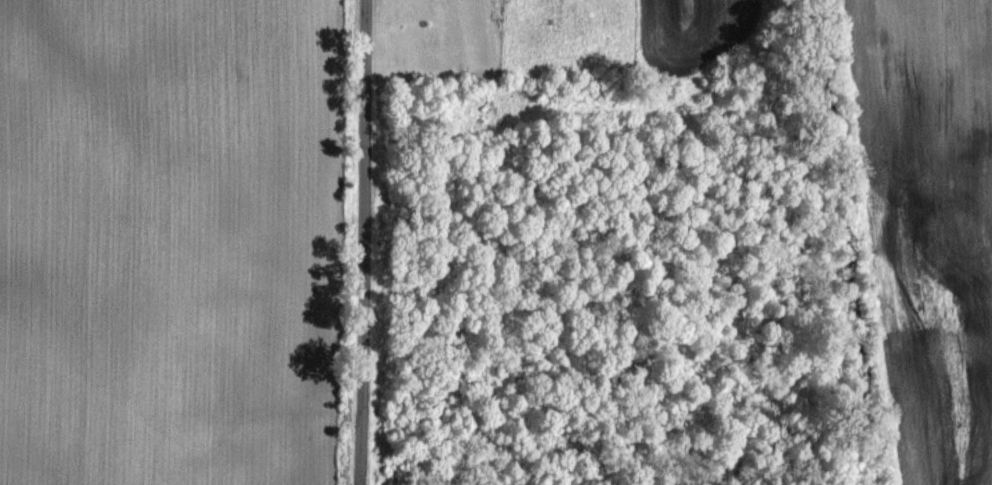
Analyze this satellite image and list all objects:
road: (362, 242)

